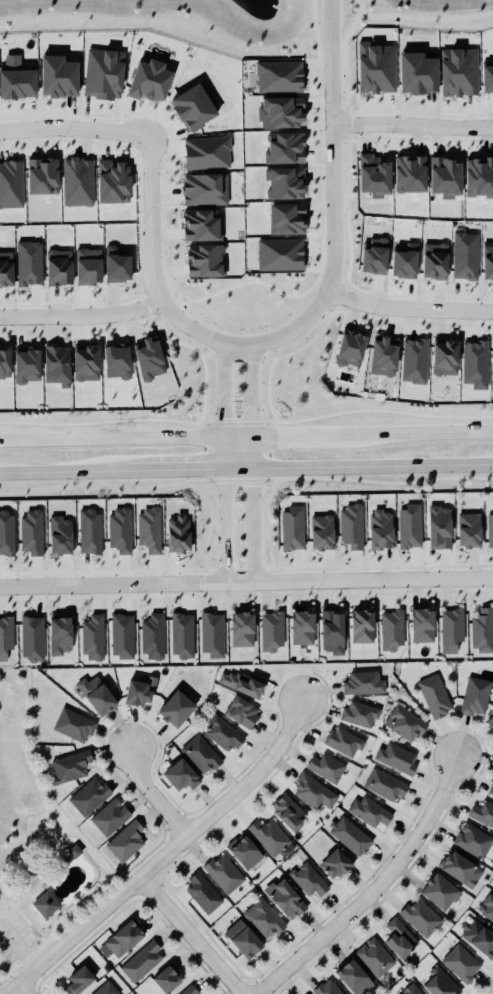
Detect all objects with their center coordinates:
road: (358, 6)
park: (419, 14)
road: (427, 20)
road: (316, 34)
building: (382, 53)
road: (345, 57)
building: (460, 73)
building: (96, 77)
building: (60, 78)
building: (279, 78)
building: (488, 80)
building: (149, 82)
building: (19, 85)
building: (196, 109)
building: (283, 114)
road: (413, 125)
road: (74, 131)
building: (286, 150)
building: (209, 154)
building: (44, 177)
building: (480, 179)
building: (114, 182)
building: (286, 185)
building: (11, 186)
building: (207, 191)
road: (334, 194)
building: (289, 220)
building: (279, 256)
building: (377, 258)
building: (206, 262)
building: (436, 262)
building: (406, 263)
building: (30, 264)
building: (489, 264)
building: (118, 267)
building: (90, 268)
building: (61, 269)
building: (7, 270)
road: (155, 271)
road: (408, 306)
road: (83, 315)
building: (352, 350)
building: (385, 359)
building: (150, 360)
building: (447, 360)
building: (88, 364)
building: (119, 364)
building: (5, 365)
building: (58, 365)
building: (28, 366)
building: (476, 367)
road: (224, 406)
road: (252, 406)
road: (484, 434)
road: (237, 438)
road: (487, 468)
road: (238, 469)
road: (367, 469)
road: (178, 471)
road: (65, 473)
road: (252, 525)
road: (226, 526)
building: (352, 527)
building: (411, 527)
building: (441, 528)
building: (292, 530)
building: (382, 530)
building: (490, 530)
building: (149, 531)
building: (471, 531)
building: (32, 532)
building: (90, 532)
building: (120, 532)
building: (323, 533)
building: (7, 534)
building: (179, 535)
building: (61, 536)
road: (246, 582)
building: (424, 626)
building: (364, 627)
building: (304, 629)
building: (244, 630)
building: (392, 630)
building: (452, 630)
building: (482, 631)
building: (272, 633)
building: (334, 633)
building: (61, 636)
building: (182, 636)
building: (212, 636)
building: (123, 637)
building: (6, 638)
building: (153, 638)
building: (33, 639)
building: (93, 639)
building: (242, 684)
building: (364, 684)
building: (142, 691)
building: (98, 696)
building: (435, 697)
building: (476, 697)
building: (178, 710)
building: (244, 714)
building: (360, 714)
building: (490, 722)
building: (406, 724)
building: (74, 726)
building: (223, 735)
building: (345, 743)
building: (202, 755)
building: (397, 759)
building: (71, 767)
building: (327, 769)
building: (182, 776)
building: (386, 787)
building: (491, 789)
building: (314, 793)
road: (157, 795)
building: (90, 798)
road: (41, 802)
building: (371, 812)
building: (291, 814)
building: (482, 815)
building: (111, 818)
building: (269, 837)
building: (351, 837)
building: (474, 841)
building: (127, 842)
park: (37, 845)
building: (245, 852)
road: (146, 856)
road: (167, 856)
building: (337, 865)
building: (462, 870)
building: (224, 875)
building: (310, 880)
road: (375, 888)
road: (97, 890)
building: (441, 892)
building: (204, 895)
building: (287, 899)
building: (42, 905)
building: (487, 908)
road: (57, 917)
building: (421, 918)
road: (52, 919)
building: (265, 919)
road: (29, 926)
road: (195, 935)
building: (479, 938)
parking lot: (13, 939)
building: (245, 939)
building: (401, 939)
road: (26, 940)
building: (123, 941)
road: (18, 948)
building: (377, 958)
building: (142, 962)
building: (463, 965)
building: (355, 977)
building: (168, 980)
building: (80, 981)
building: (441, 982)
building: (328, 988)
building: (107, 989)
building: (413, 990)
building: (188, 991)
road: (15, 992)

